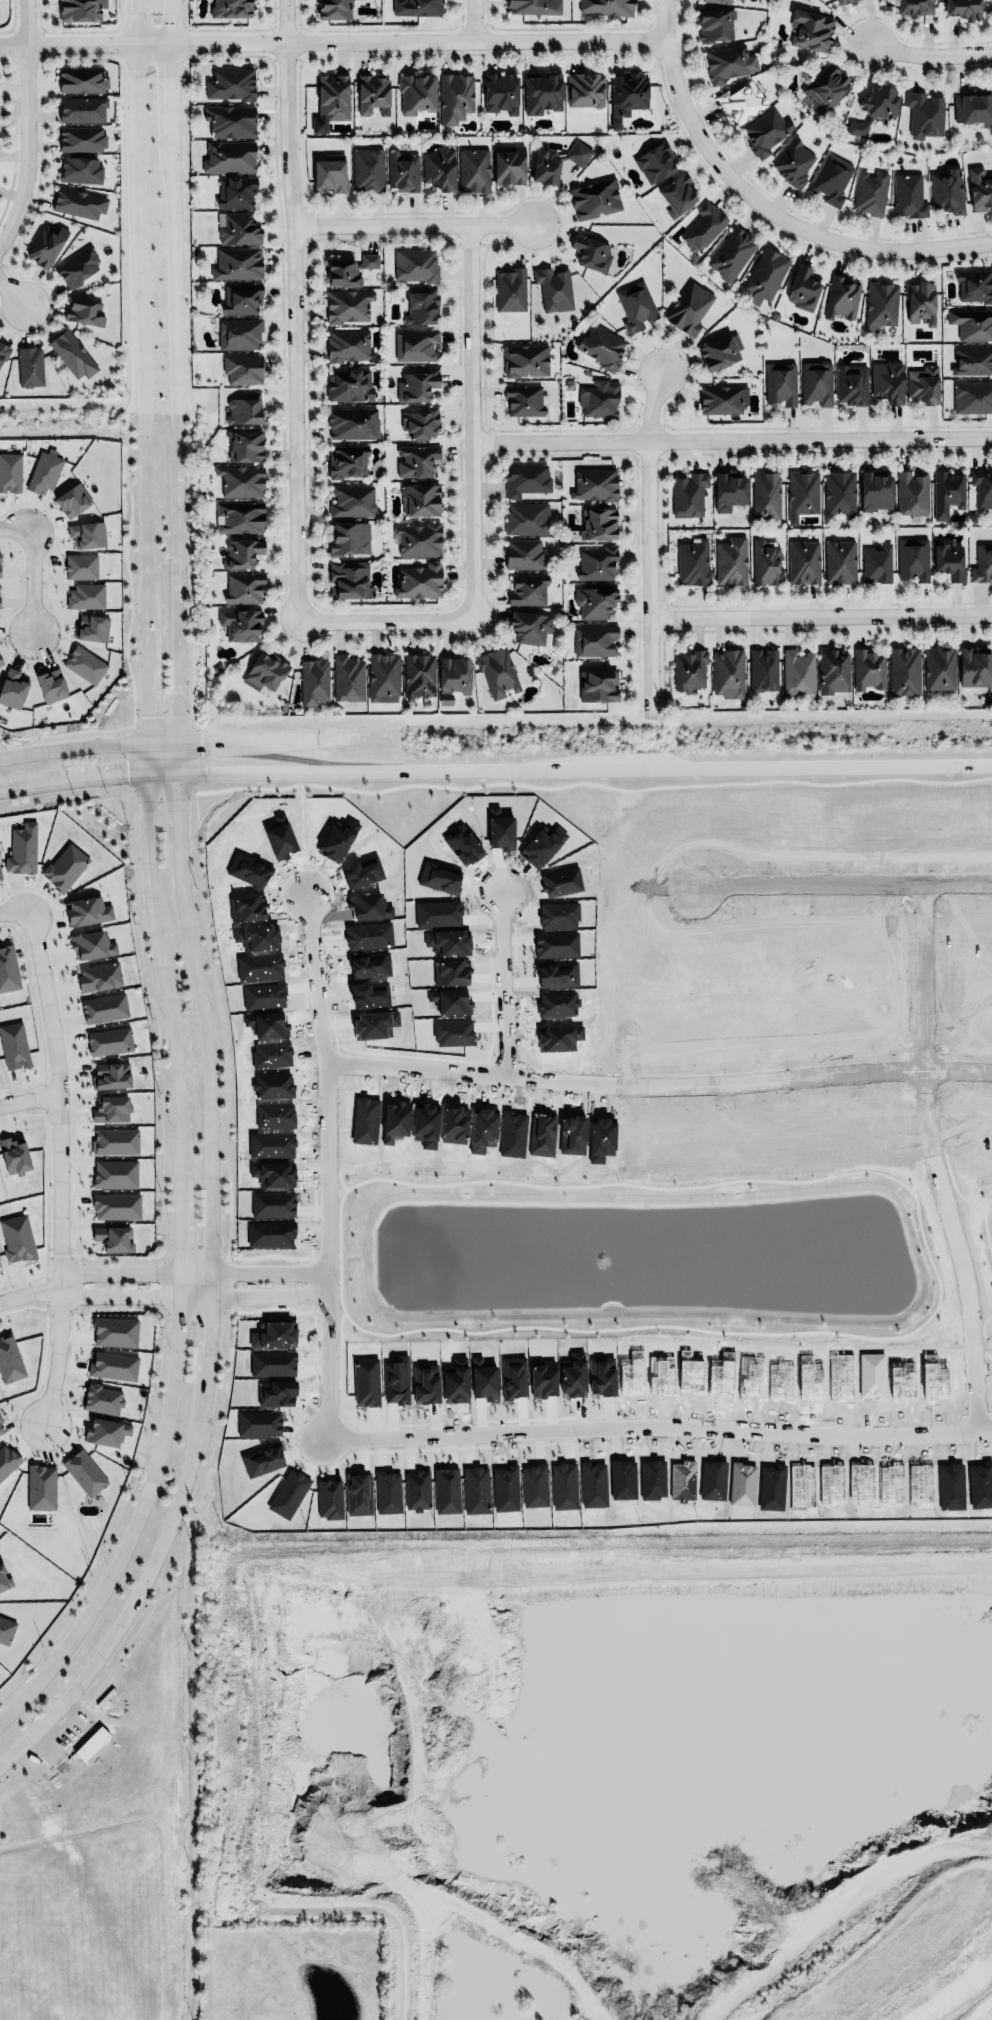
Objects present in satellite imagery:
building: (717, 1)
building: (846, 1)
building: (535, 6)
building: (417, 7)
building: (607, 7)
building: (914, 7)
building: (231, 8)
building: (335, 9)
building: (964, 9)
building: (81, 10)
road: (470, 18)
road: (664, 19)
building: (714, 23)
building: (811, 29)
road: (346, 39)
road: (15, 42)
road: (931, 57)
building: (729, 62)
building: (83, 79)
building: (230, 82)
building: (826, 88)
building: (586, 90)
building: (417, 92)
building: (629, 92)
building: (500, 93)
building: (542, 93)
building: (373, 94)
building: (333, 96)
building: (456, 97)
building: (741, 102)
building: (974, 107)
building: (875, 108)
building: (82, 109)
building: (925, 114)
building: (229, 121)
road: (31, 129)
building: (766, 132)
building: (82, 138)
building: (229, 156)
building: (557, 162)
building: (656, 162)
building: (794, 163)
building: (508, 165)
building: (81, 169)
building: (440, 169)
building: (367, 170)
building: (474, 170)
building: (403, 171)
building: (330, 173)
building: (830, 180)
building: (980, 188)
building: (947, 191)
building: (235, 192)
building: (871, 193)
building: (678, 194)
building: (909, 195)
building: (595, 197)
building: (79, 202)
road: (142, 207)
road: (174, 207)
road: (777, 217)
building: (704, 225)
road: (412, 227)
building: (238, 228)
building: (47, 243)
building: (590, 252)
building: (732, 253)
building: (369, 261)
building: (237, 263)
building: (414, 265)
building: (79, 266)
building: (342, 273)
building: (766, 275)
road: (15, 282)
building: (975, 284)
building: (553, 289)
building: (803, 289)
building: (510, 290)
building: (842, 297)
building: (241, 298)
building: (921, 302)
building: (348, 305)
building: (881, 305)
building: (422, 307)
building: (635, 307)
road: (293, 308)
building: (689, 308)
building: (85, 311)
building: (972, 323)
building: (239, 333)
building: (348, 343)
building: (415, 345)
building: (602, 347)
building: (4, 351)
building: (721, 351)
building: (74, 354)
building: (525, 360)
building: (972, 360)
building: (31, 365)
building: (242, 369)
building: (816, 382)
building: (888, 382)
building: (349, 383)
building: (781, 383)
building: (852, 384)
building: (924, 384)
building: (417, 385)
building: (972, 397)
building: (599, 398)
building: (721, 399)
building: (524, 400)
building: (242, 410)
building: (421, 420)
building: (353, 421)
road: (463, 422)
road: (727, 440)
building: (244, 443)
building: (348, 458)
building: (417, 458)
building: (10, 470)
building: (43, 471)
building: (526, 478)
building: (240, 479)
building: (595, 481)
building: (729, 489)
building: (874, 489)
building: (982, 489)
building: (803, 491)
building: (840, 491)
building: (948, 491)
building: (688, 492)
building: (912, 492)
building: (766, 493)
building: (72, 498)
building: (352, 499)
building: (420, 500)
building: (239, 515)
building: (527, 518)
building: (598, 521)
road: (16, 527)
building: (87, 531)
building: (349, 536)
building: (418, 538)
road: (145, 540)
road: (648, 545)
building: (524, 552)
building: (242, 553)
building: (913, 557)
building: (950, 557)
building: (731, 560)
building: (693, 561)
building: (766, 561)
building: (804, 562)
building: (840, 562)
building: (983, 562)
building: (597, 563)
building: (877, 564)
building: (80, 566)
road: (177, 578)
building: (349, 578)
road: (32, 579)
building: (419, 581)
building: (244, 585)
building: (528, 588)
building: (86, 594)
building: (595, 599)
road: (382, 618)
road: (820, 618)
building: (240, 621)
building: (530, 625)
building: (91, 628)
building: (594, 638)
building: (1, 660)
building: (0, 662)
building: (84, 664)
building: (763, 667)
building: (974, 667)
building: (868, 668)
building: (939, 668)
building: (265, 669)
building: (497, 670)
building: (690, 670)
building: (798, 670)
building: (904, 670)
building: (728, 671)
building: (833, 671)
building: (419, 673)
building: (454, 673)
building: (384, 675)
building: (348, 677)
building: (313, 678)
building: (50, 684)
building: (598, 684)
building: (12, 687)
road: (146, 702)
road: (162, 741)
road: (73, 746)
road: (230, 752)
road: (147, 757)
road: (637, 769)
road: (230, 771)
road: (163, 773)
road: (73, 779)
building: (22, 849)
building: (65, 865)
building: (0, 873)
building: (0, 878)
road: (840, 879)
road: (14, 908)
building: (88, 910)
building: (93, 942)
road: (142, 959)
building: (7, 968)
road: (936, 973)
building: (98, 974)
road: (320, 978)
road: (502, 985)
building: (104, 1006)
road: (37, 1016)
building: (107, 1040)
building: (12, 1045)
road: (798, 1070)
road: (467, 1073)
building: (108, 1074)
road: (71, 1092)
road: (44, 1097)
road: (29, 1099)
building: (109, 1107)
road: (226, 1137)
building: (113, 1141)
building: (14, 1155)
road: (59, 1163)
building: (113, 1172)
road: (46, 1194)
building: (116, 1206)
building: (17, 1238)
building: (113, 1238)
road: (327, 1244)
road: (969, 1246)
road: (269, 1255)
road: (59, 1256)
road: (325, 1256)
fountain: (599, 1256)
road: (194, 1257)
road: (929, 1260)
building: (0, 1266)
road: (181, 1271)
road: (191, 1272)
road: (210, 1281)
road: (74, 1284)
road: (162, 1284)
road: (313, 1284)
road: (46, 1289)
road: (29, 1292)
road: (192, 1296)
road: (271, 1307)
road: (195, 1311)
road: (59, 1314)
building: (114, 1331)
building: (9, 1359)
building: (113, 1365)
building: (102, 1399)
building: (0, 1418)
road: (658, 1427)
road: (990, 1427)
building: (1, 1428)
building: (104, 1431)
road: (57, 1449)
building: (7, 1460)
building: (83, 1471)
building: (41, 1487)
road: (116, 1518)
building: (3, 1580)
building: (6, 1630)
building: (91, 1743)
quarry: (602, 1771)

